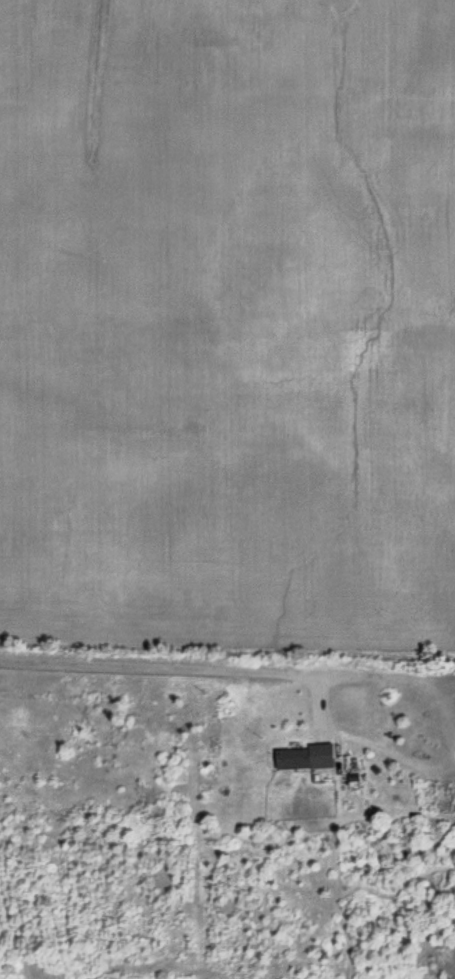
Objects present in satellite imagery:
road: (172, 668)
building: (301, 758)

